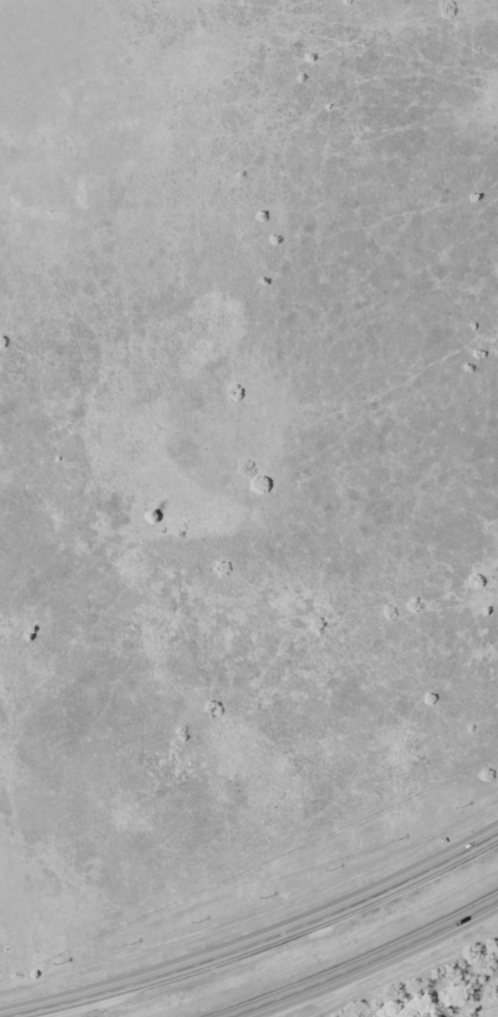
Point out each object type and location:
road: (255, 935)
road: (369, 971)
railway: (434, 1001)

